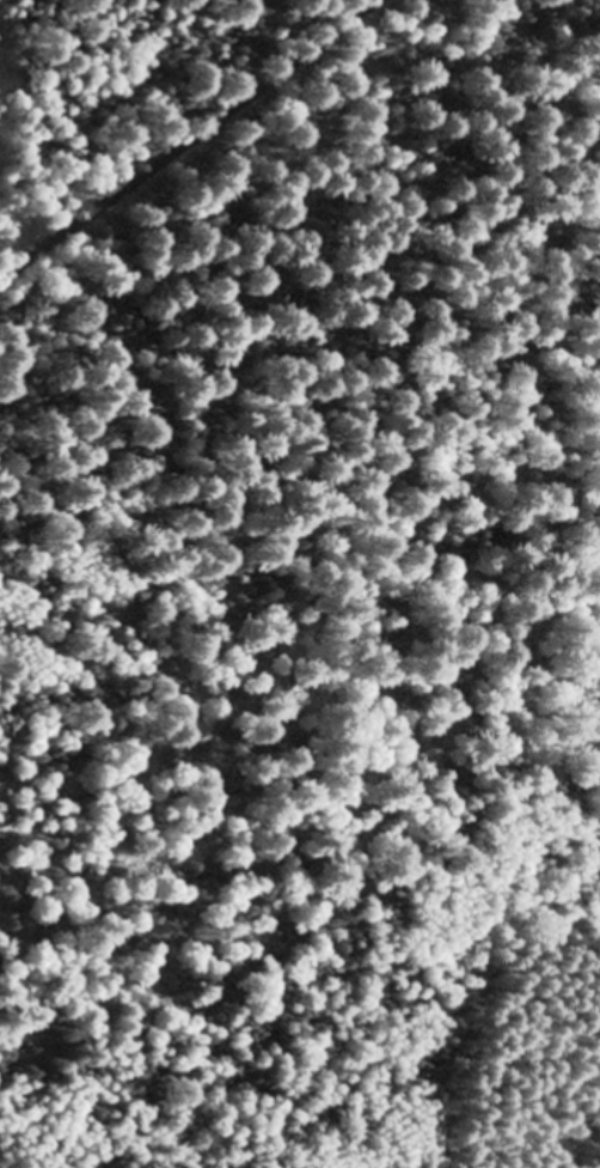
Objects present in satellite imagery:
road: (180, 135)

